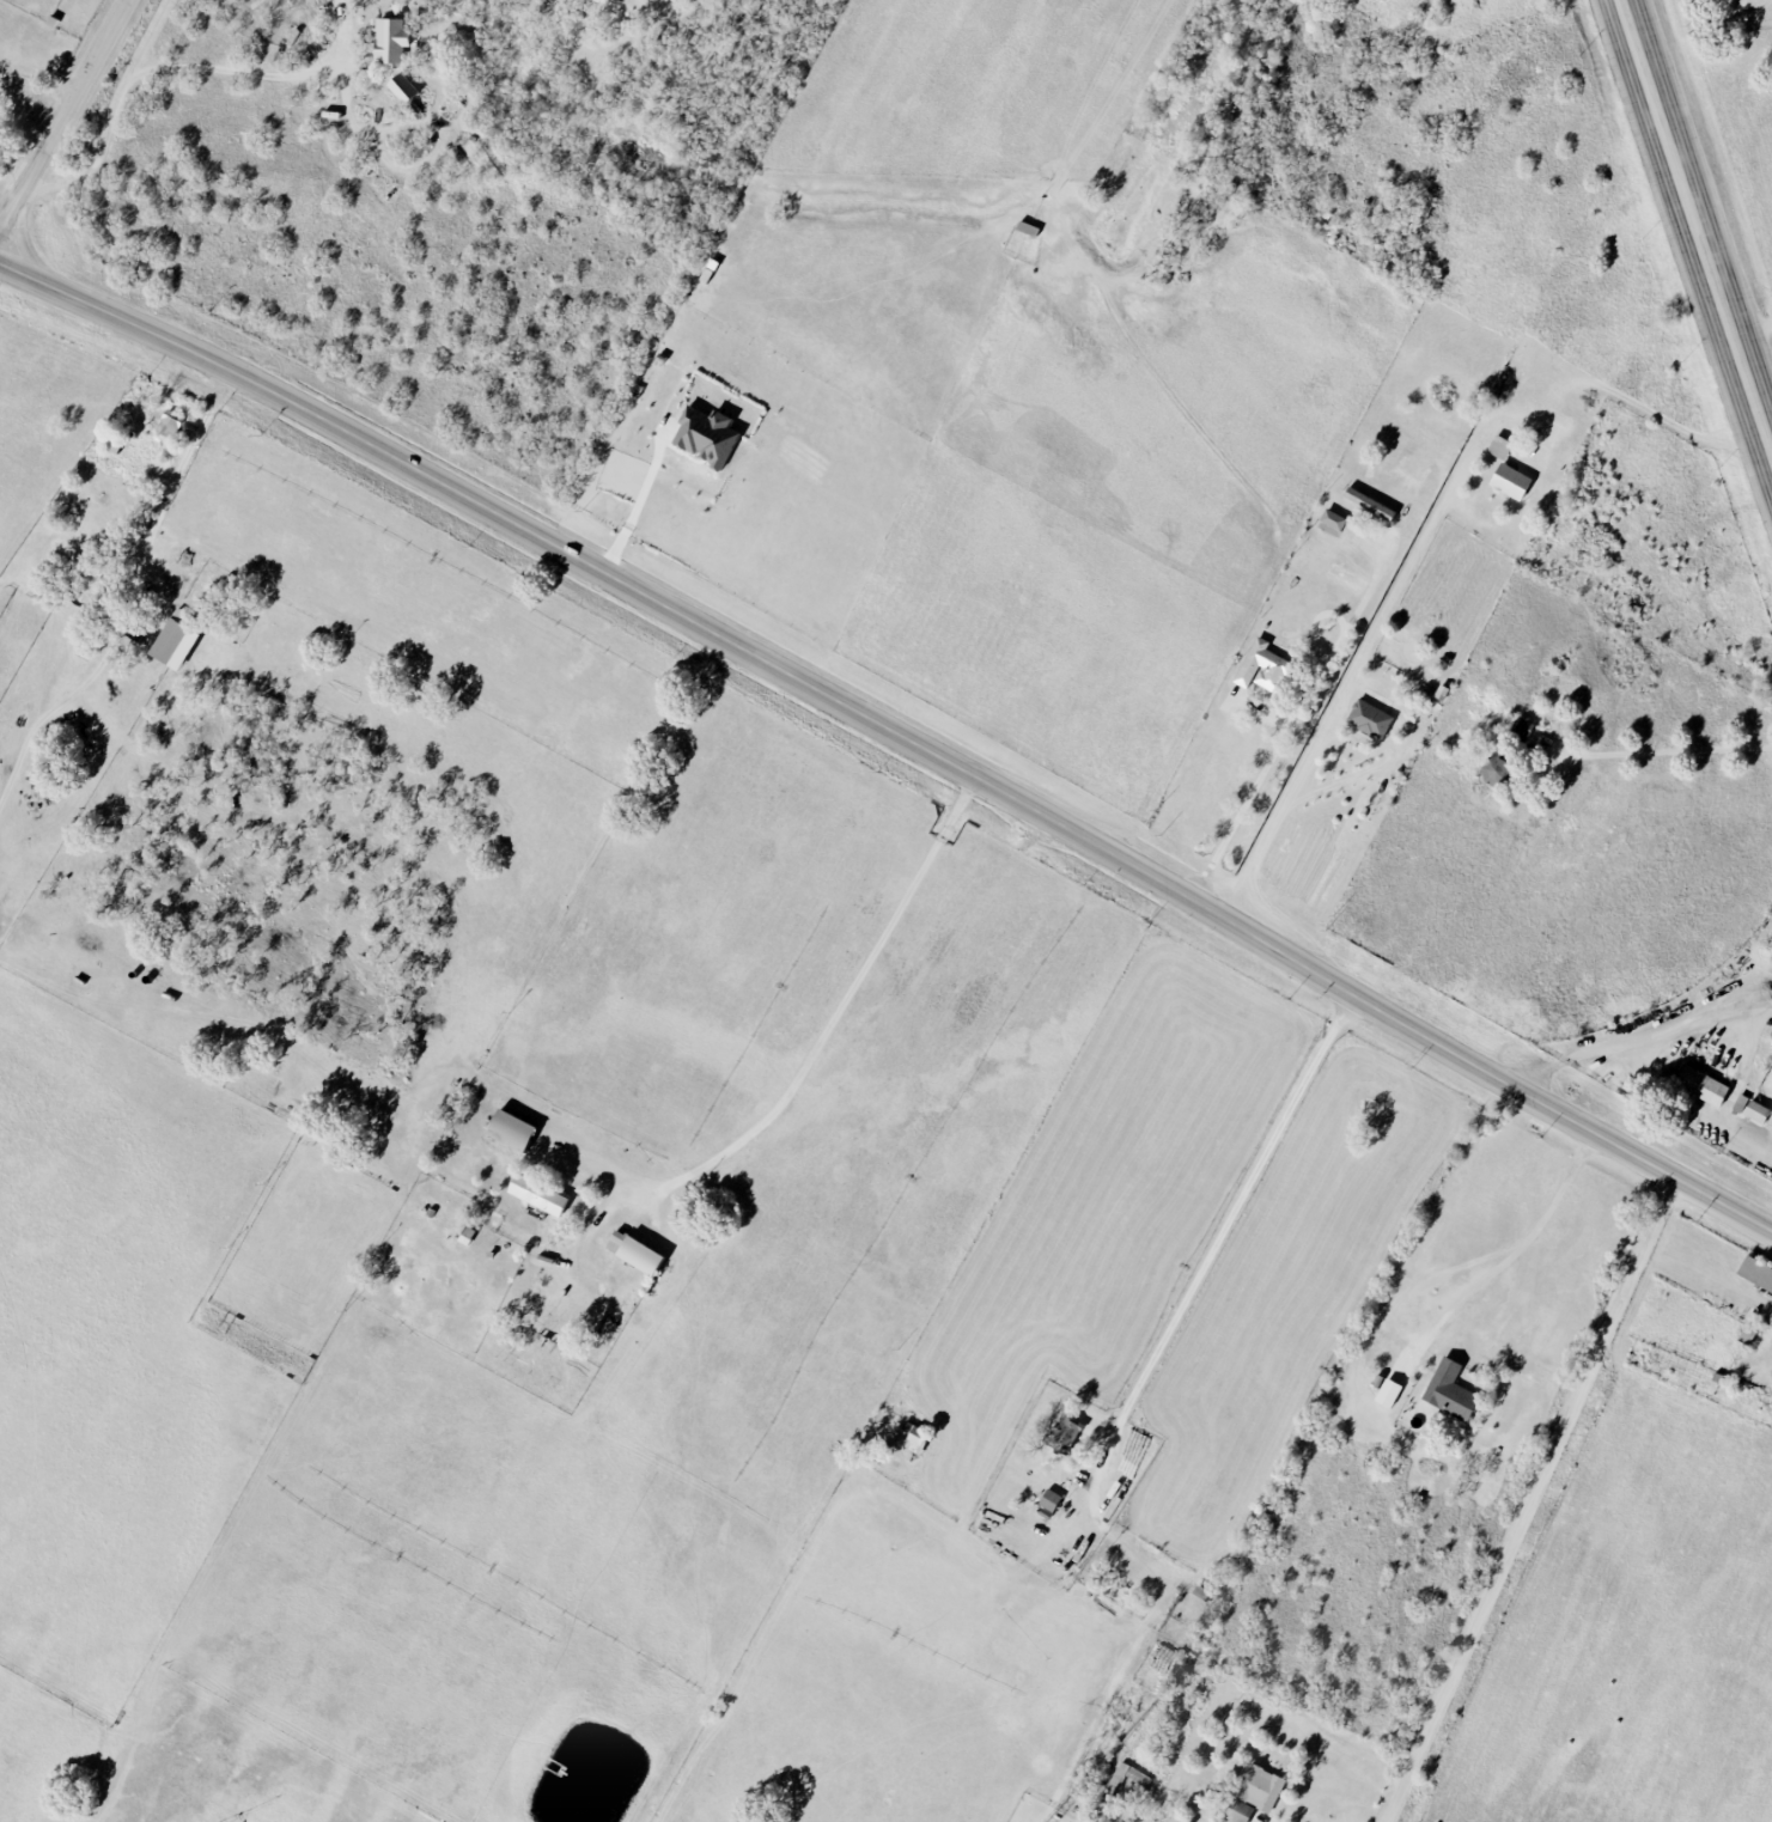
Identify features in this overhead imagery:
building: (388, 41)
road: (258, 74)
building: (401, 87)
road: (63, 115)
road: (111, 117)
road: (1705, 211)
road: (1756, 321)
building: (169, 425)
building: (704, 437)
building: (1499, 446)
road: (172, 476)
building: (1509, 481)
building: (1369, 504)
building: (1330, 523)
road: (1425, 529)
building: (175, 640)
building: (1260, 666)
road: (1296, 715)
building: (1369, 718)
building: (1520, 726)
road: (894, 731)
road: (1656, 749)
building: (1497, 770)
road: (832, 1019)
road: (1646, 1034)
building: (1700, 1085)
building: (1749, 1110)
building: (510, 1131)
building: (536, 1195)
road: (1219, 1235)
building: (635, 1254)
road: (1505, 1256)
building: (1755, 1274)
building: (1449, 1391)
building: (1065, 1433)
road: (1527, 1499)
building: (1048, 1500)
building: (1200, 1592)
building: (1127, 1778)
building: (1259, 1789)
building: (1238, 1810)

